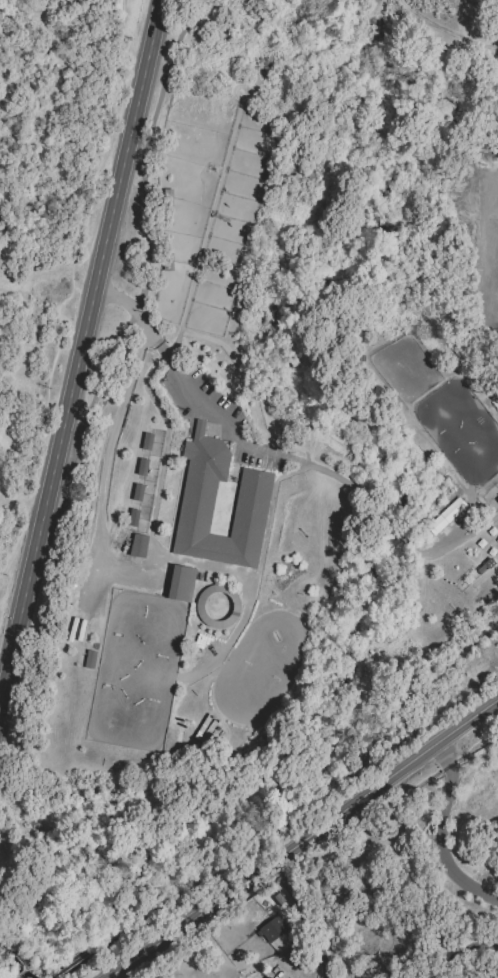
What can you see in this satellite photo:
crop: (420, 17)
road: (85, 344)
building: (491, 387)
road: (94, 401)
road: (206, 407)
park: (461, 430)
building: (148, 438)
building: (143, 464)
road: (105, 466)
building: (138, 491)
building: (497, 500)
building: (256, 511)
building: (134, 520)
building: (442, 521)
road: (474, 534)
building: (138, 545)
building: (183, 585)
building: (89, 659)
park: (258, 668)
building: (406, 669)
park: (138, 672)
building: (377, 684)
building: (350, 730)
road: (386, 802)
road: (441, 831)
road: (302, 840)
building: (277, 899)
road: (304, 917)
building: (273, 928)
road: (462, 950)
building: (267, 977)

